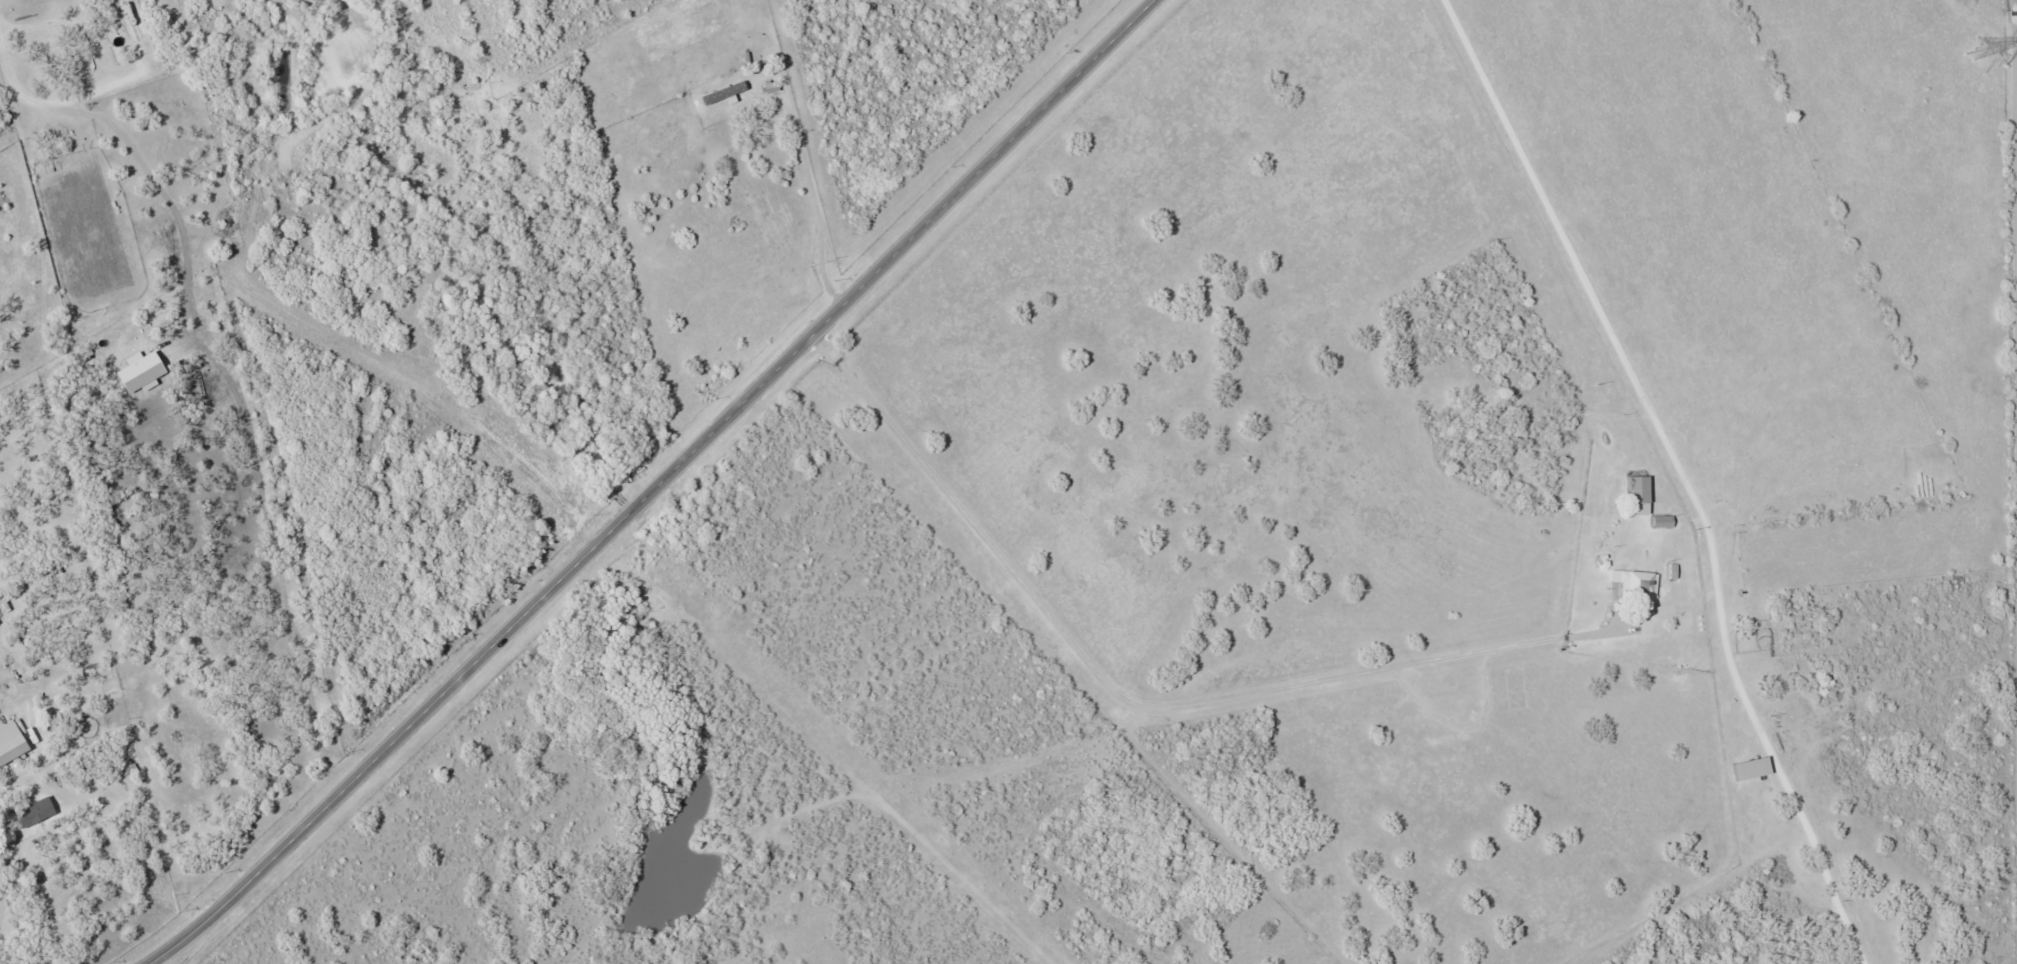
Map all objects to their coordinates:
building: (129, 24)
power tower: (1976, 48)
road: (660, 484)
building: (1637, 490)
building: (1661, 521)
building: (1637, 585)
road: (1130, 700)
building: (10, 744)
building: (33, 812)

